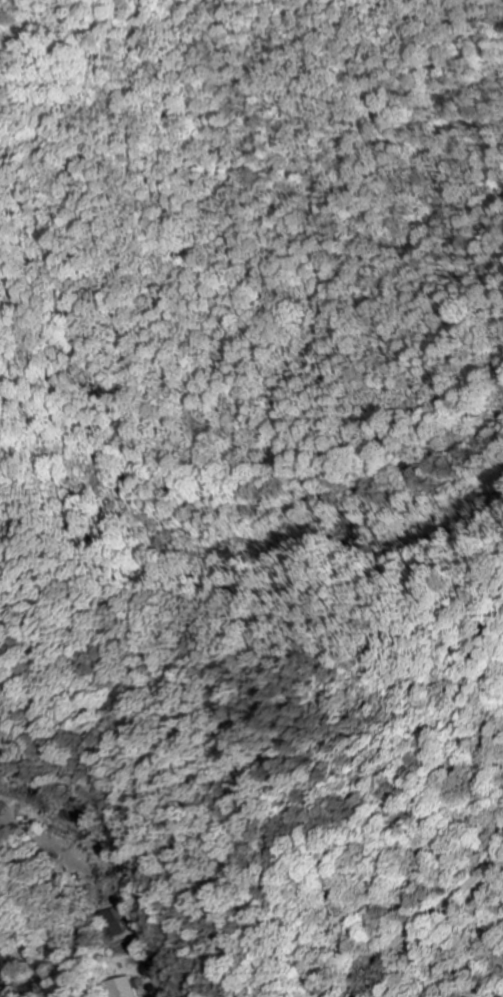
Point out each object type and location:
building: (2, 810)
road: (427, 917)
building: (113, 925)
building: (127, 987)

